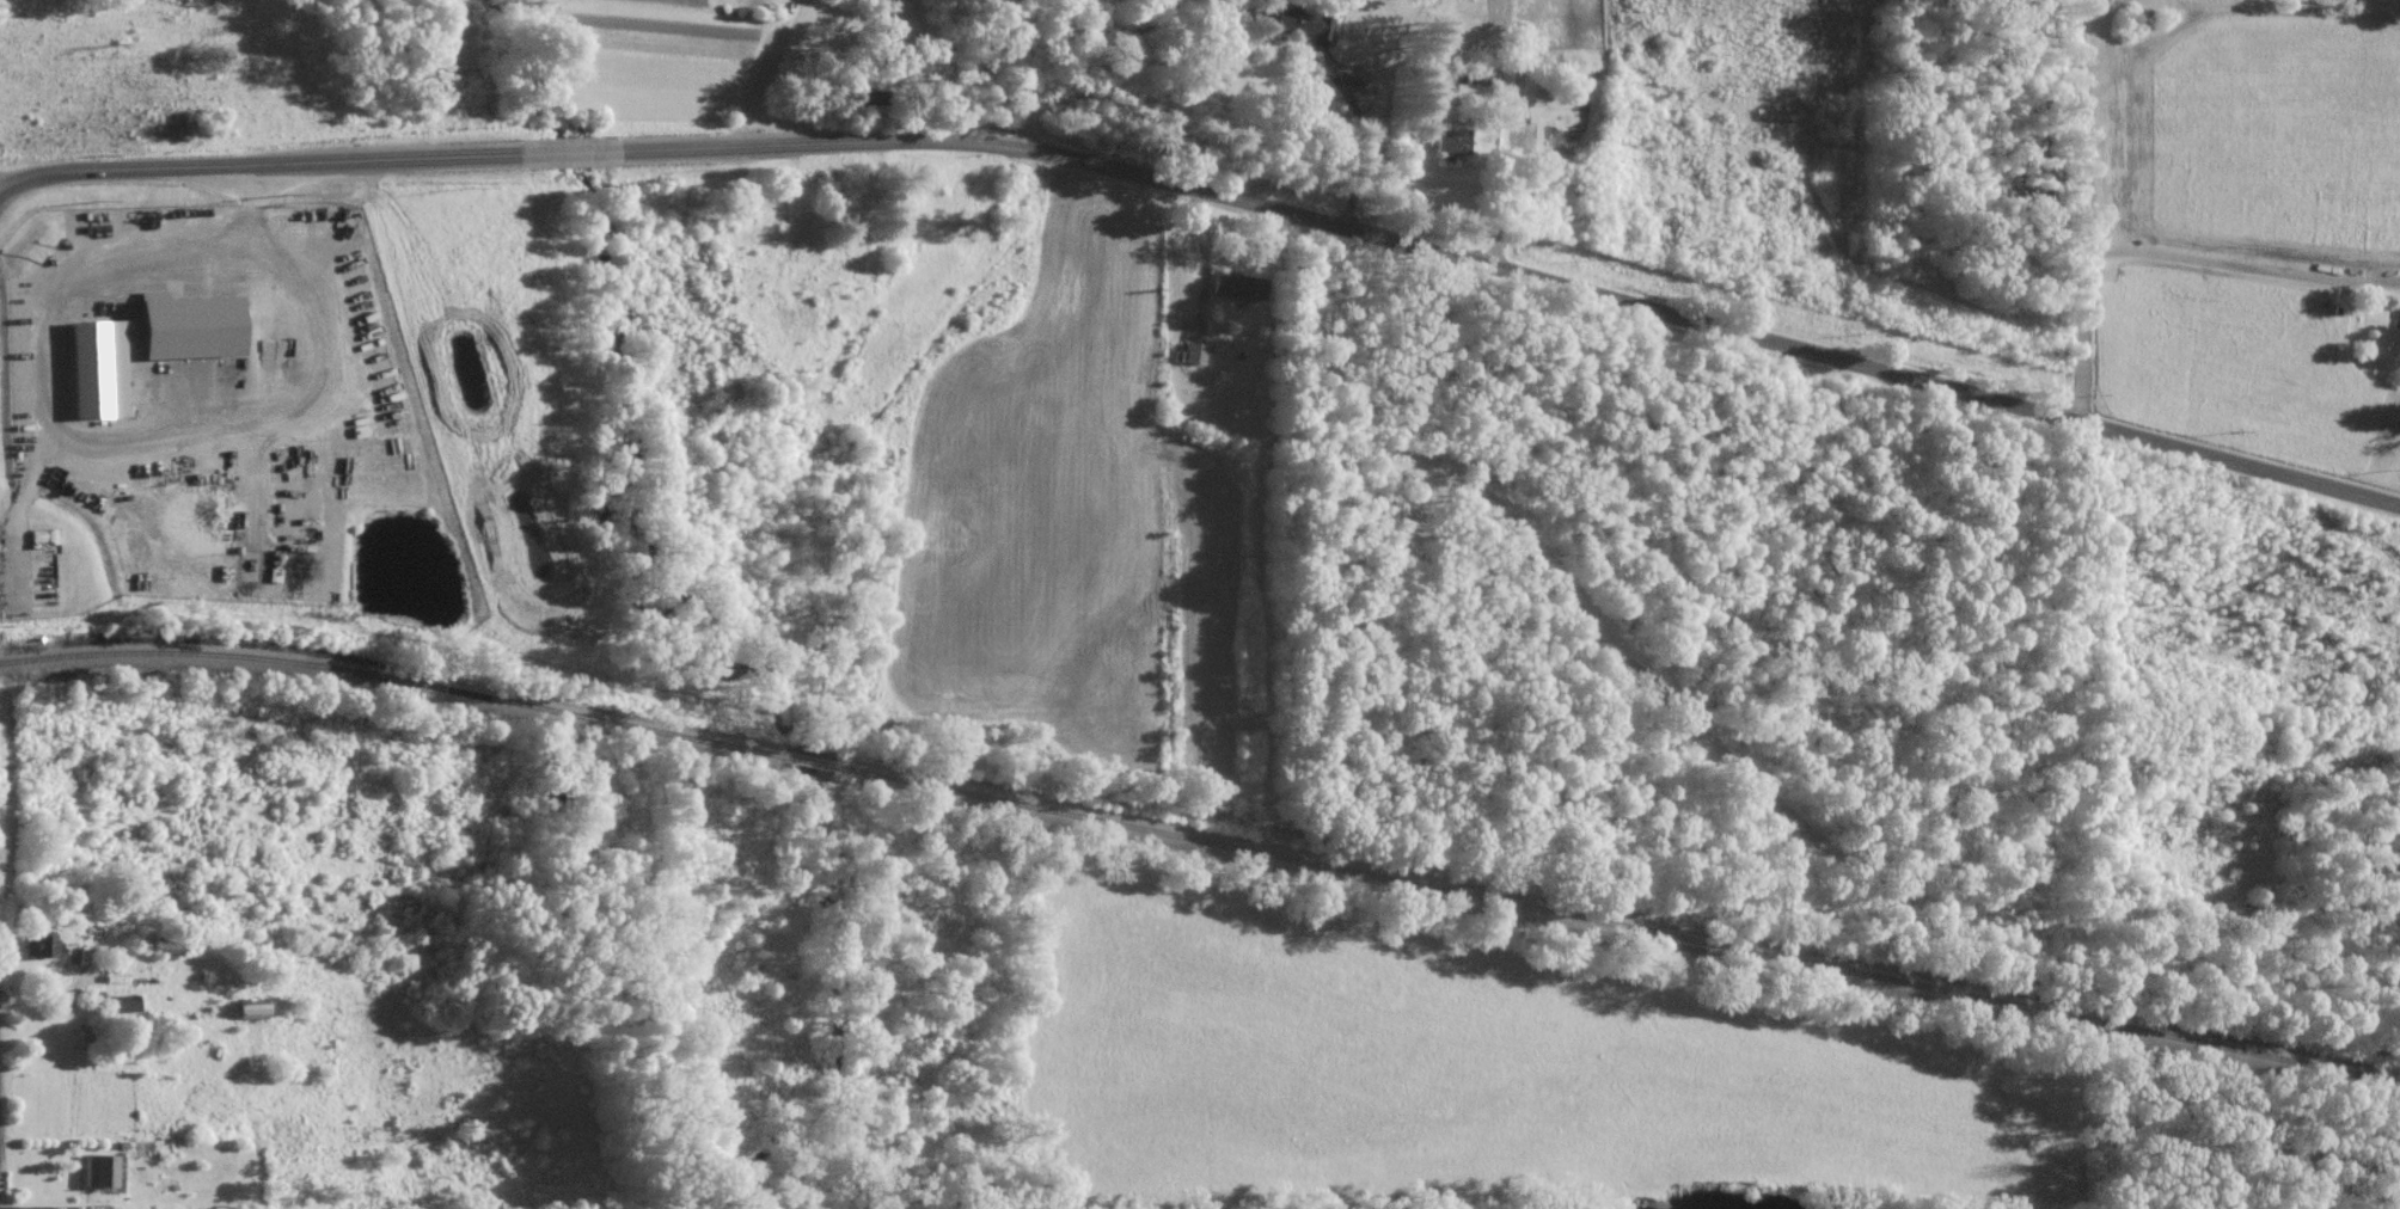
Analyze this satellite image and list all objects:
building: (1293, 20)
road: (754, 68)
road: (1022, 73)
road: (1376, 108)
building: (1449, 140)
road: (573, 148)
road: (258, 160)
road: (2086, 207)
road: (1519, 265)
road: (2243, 266)
building: (1232, 284)
building: (182, 326)
building: (1190, 351)
building: (92, 367)
railway: (1202, 836)
building: (33, 944)
building: (121, 1002)
building: (94, 1170)
road: (1726, 1173)

